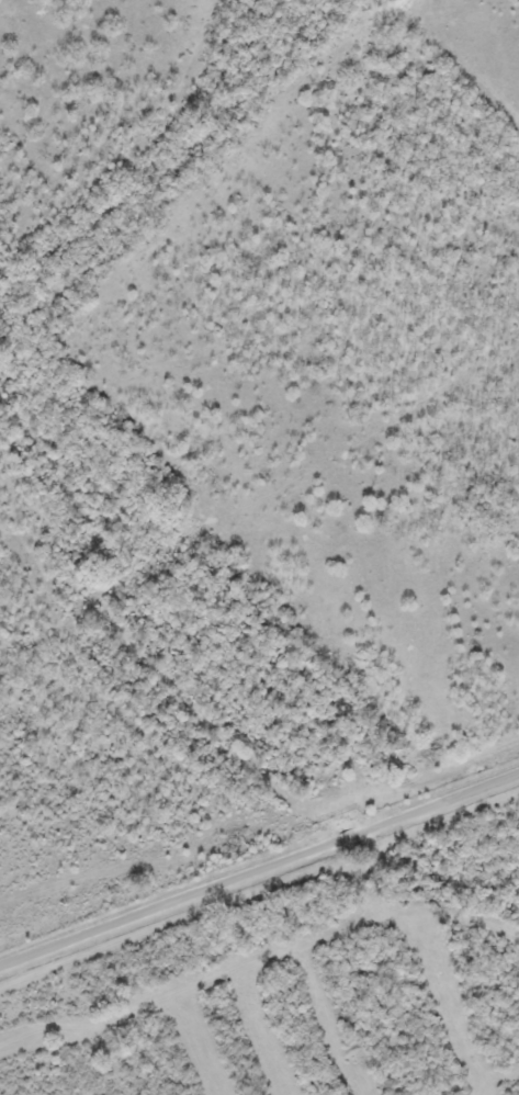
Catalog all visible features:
road: (259, 874)

